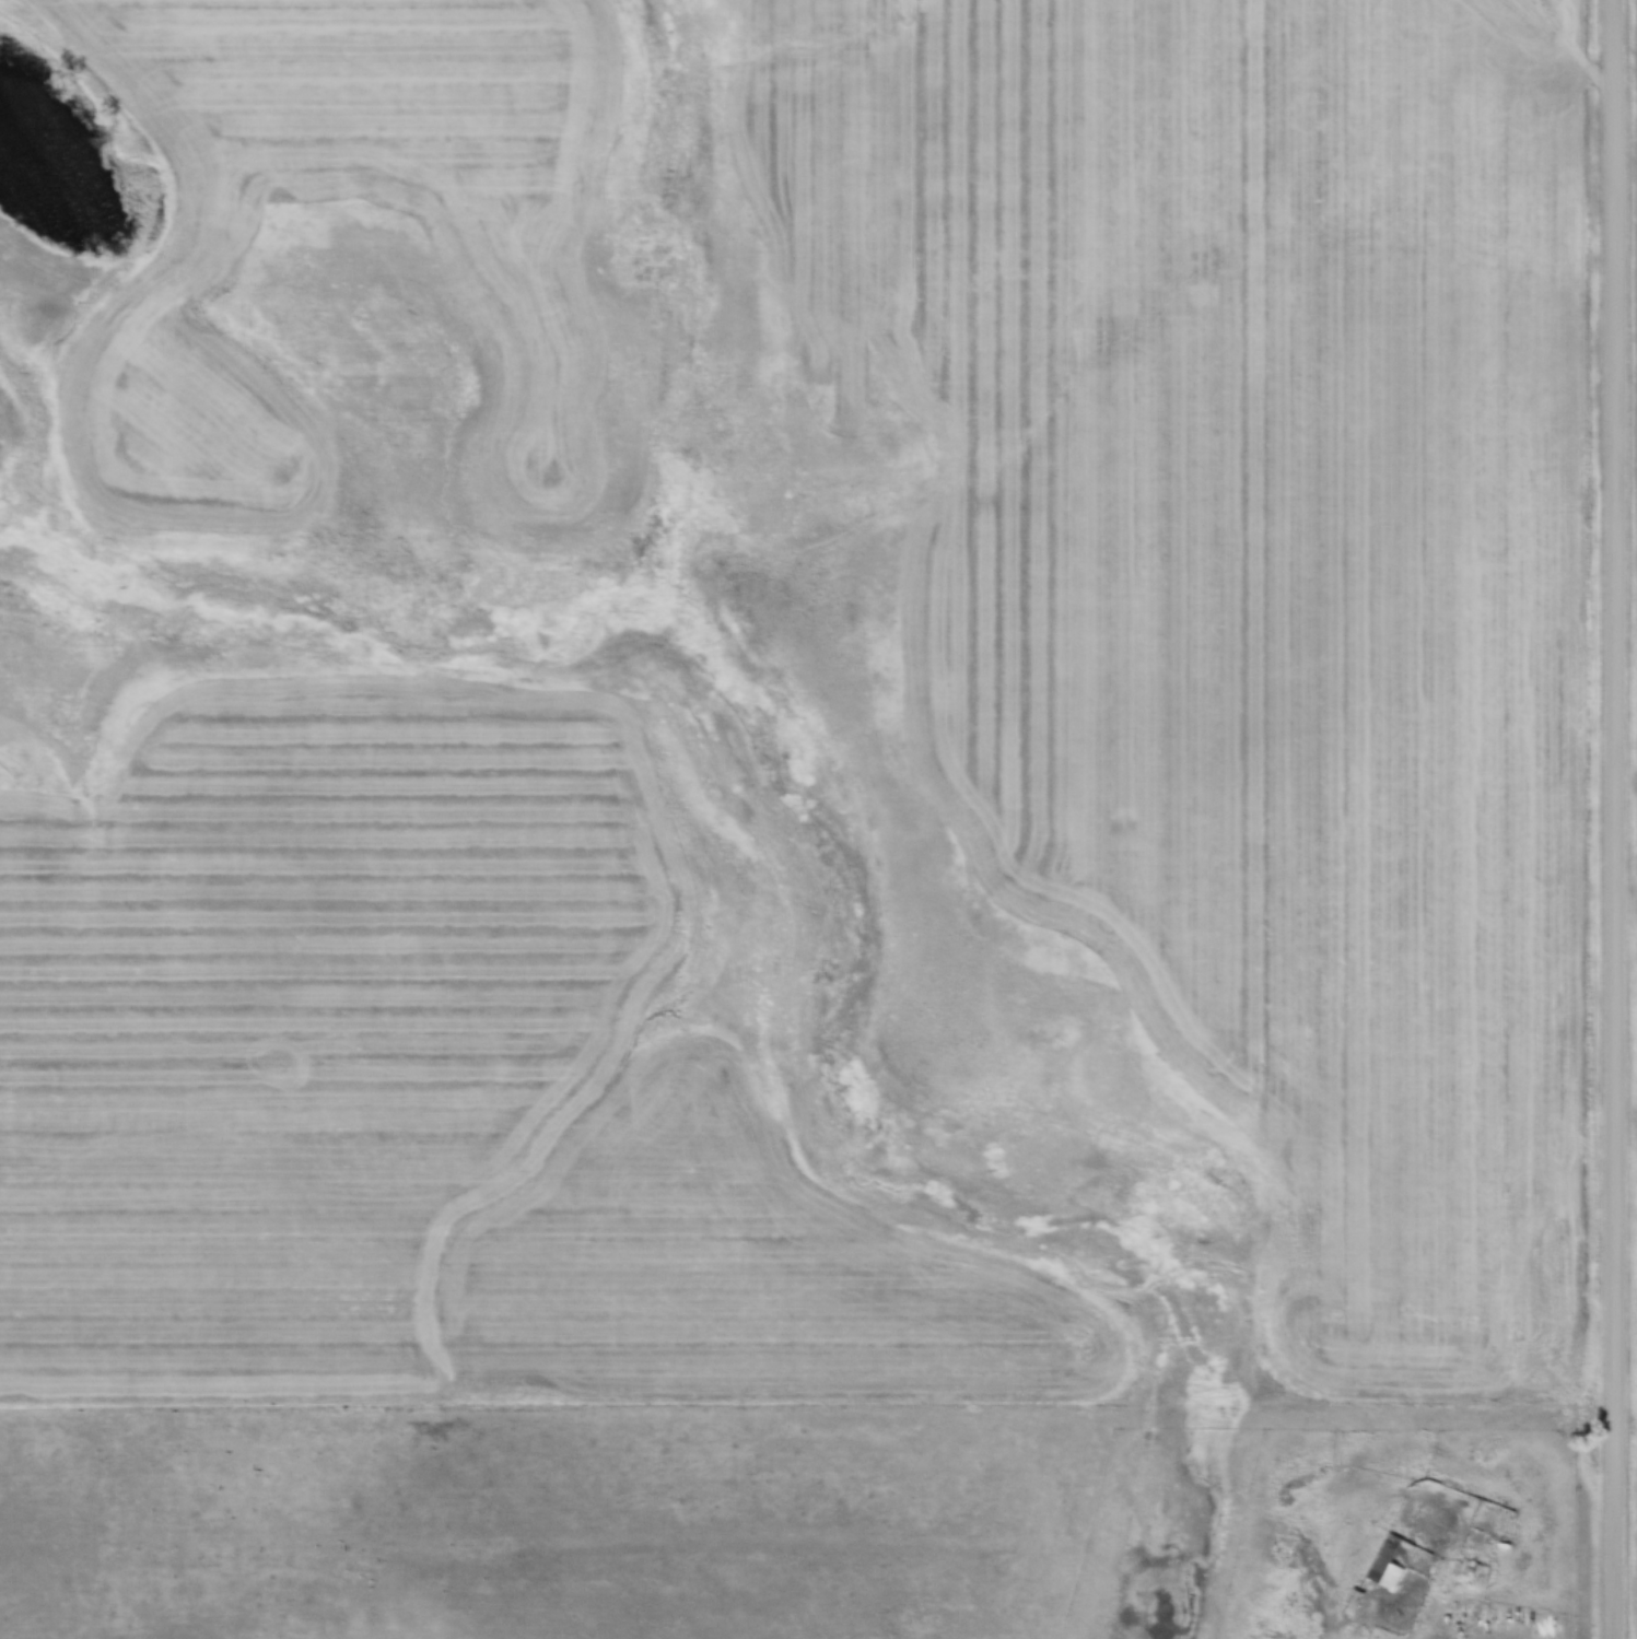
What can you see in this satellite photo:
road: (1614, 819)
building: (1393, 1566)

